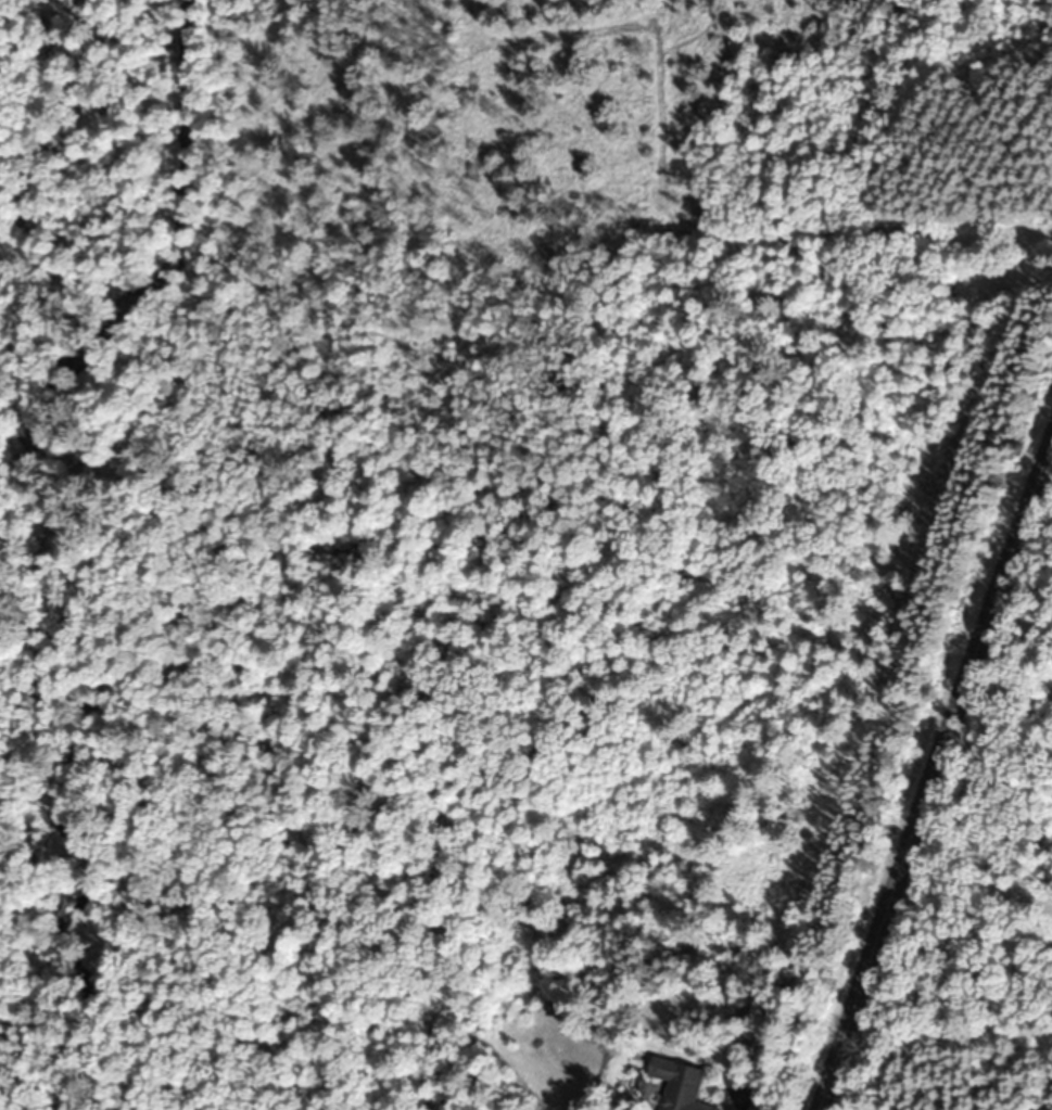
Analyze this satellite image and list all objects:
building: (663, 186)
road: (931, 766)
building: (683, 1084)

